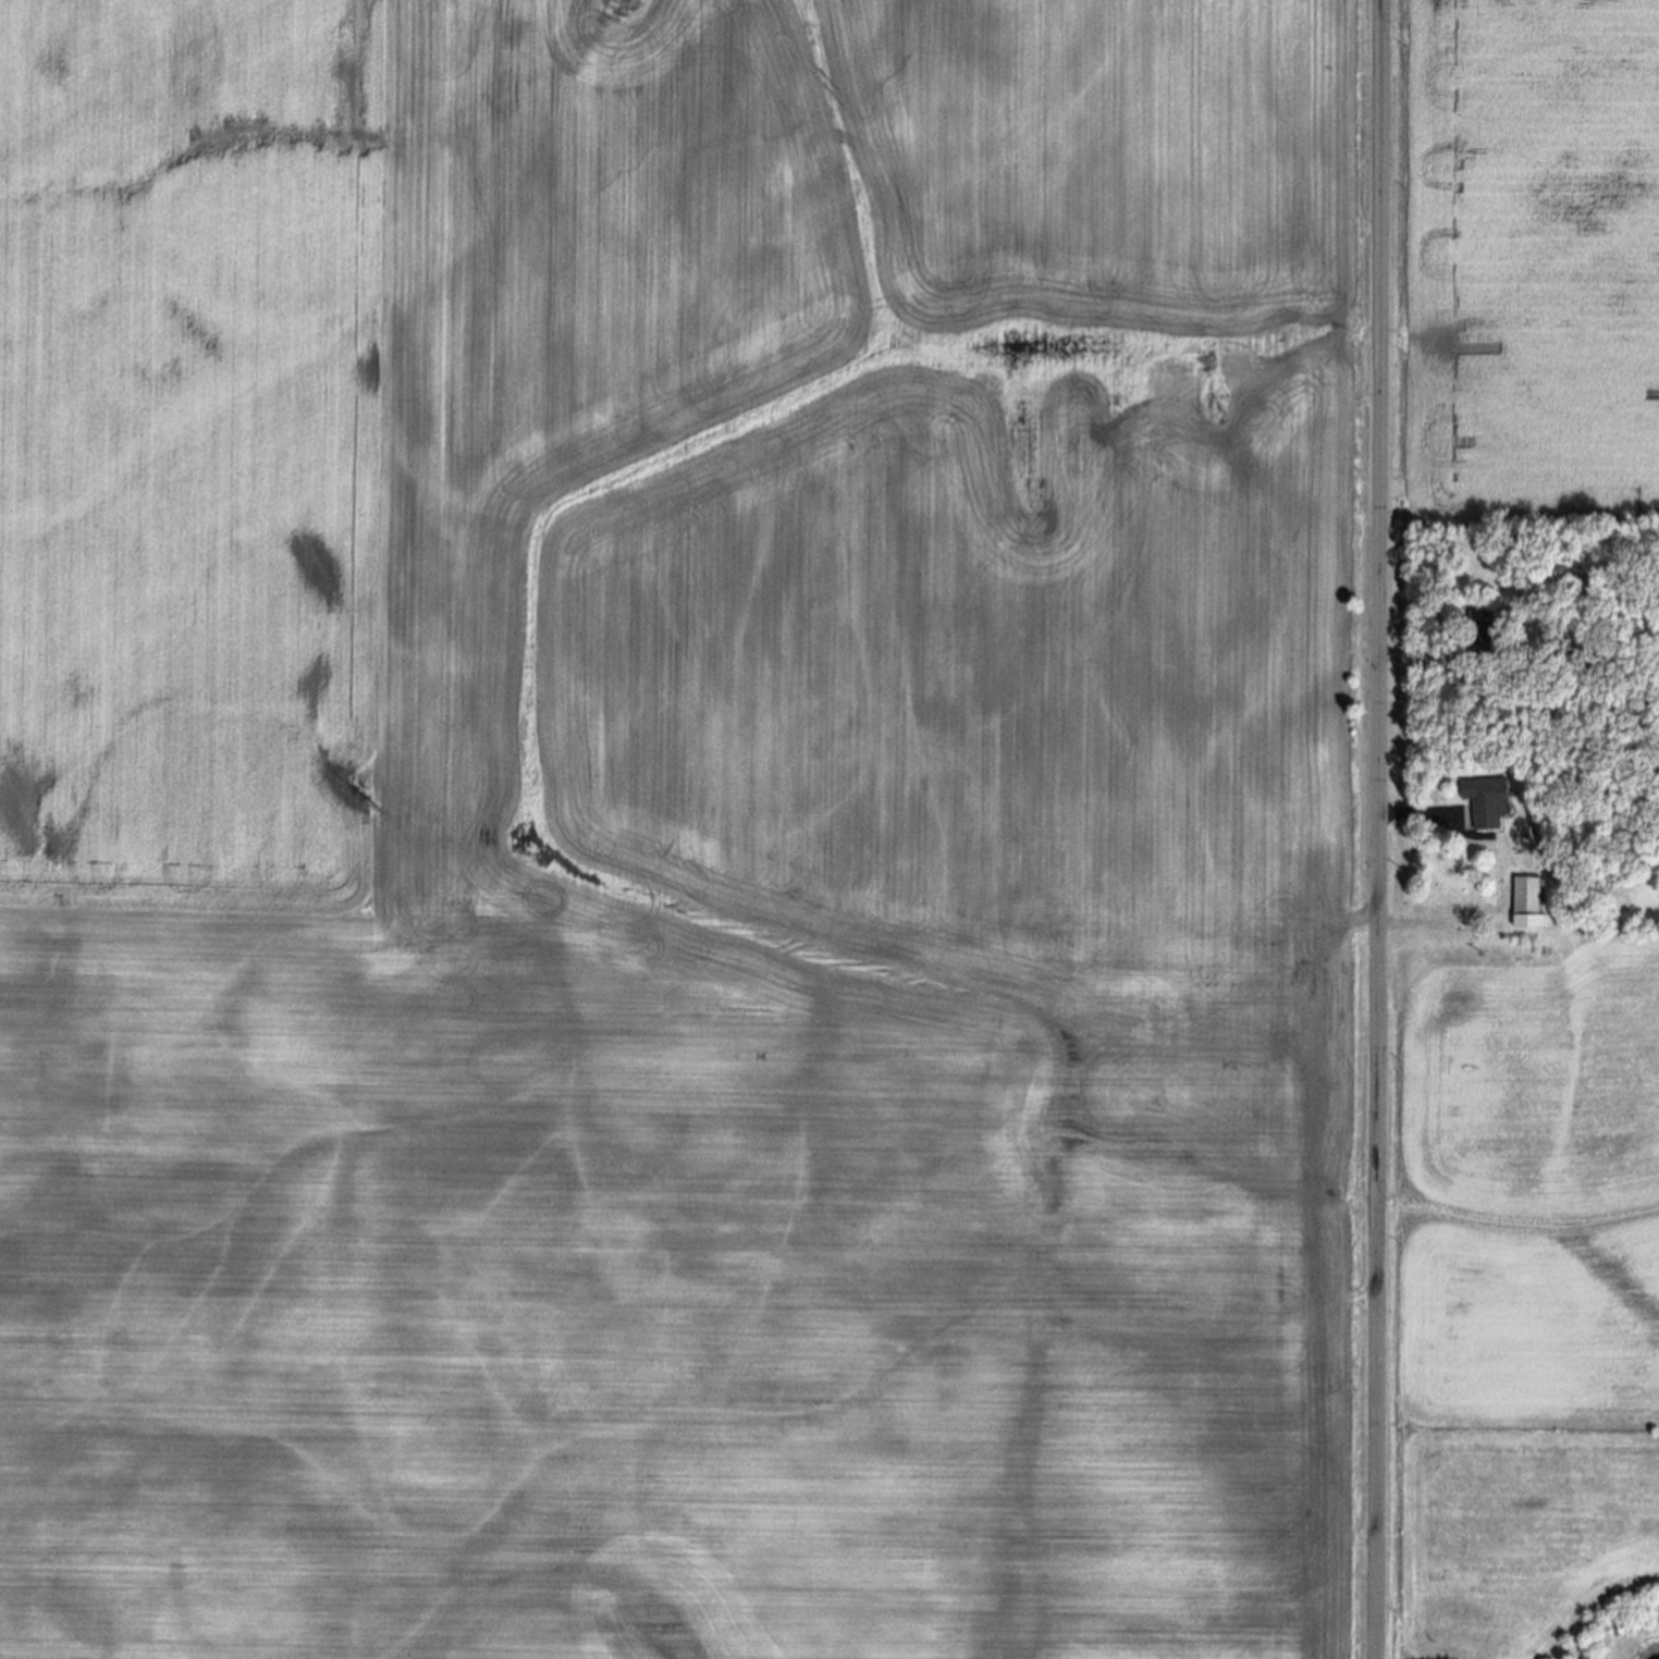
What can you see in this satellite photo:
building: (1494, 646)
road: (1408, 655)
building: (1485, 802)
road: (1413, 814)
road: (1380, 828)
building: (1526, 904)
road: (1426, 923)

